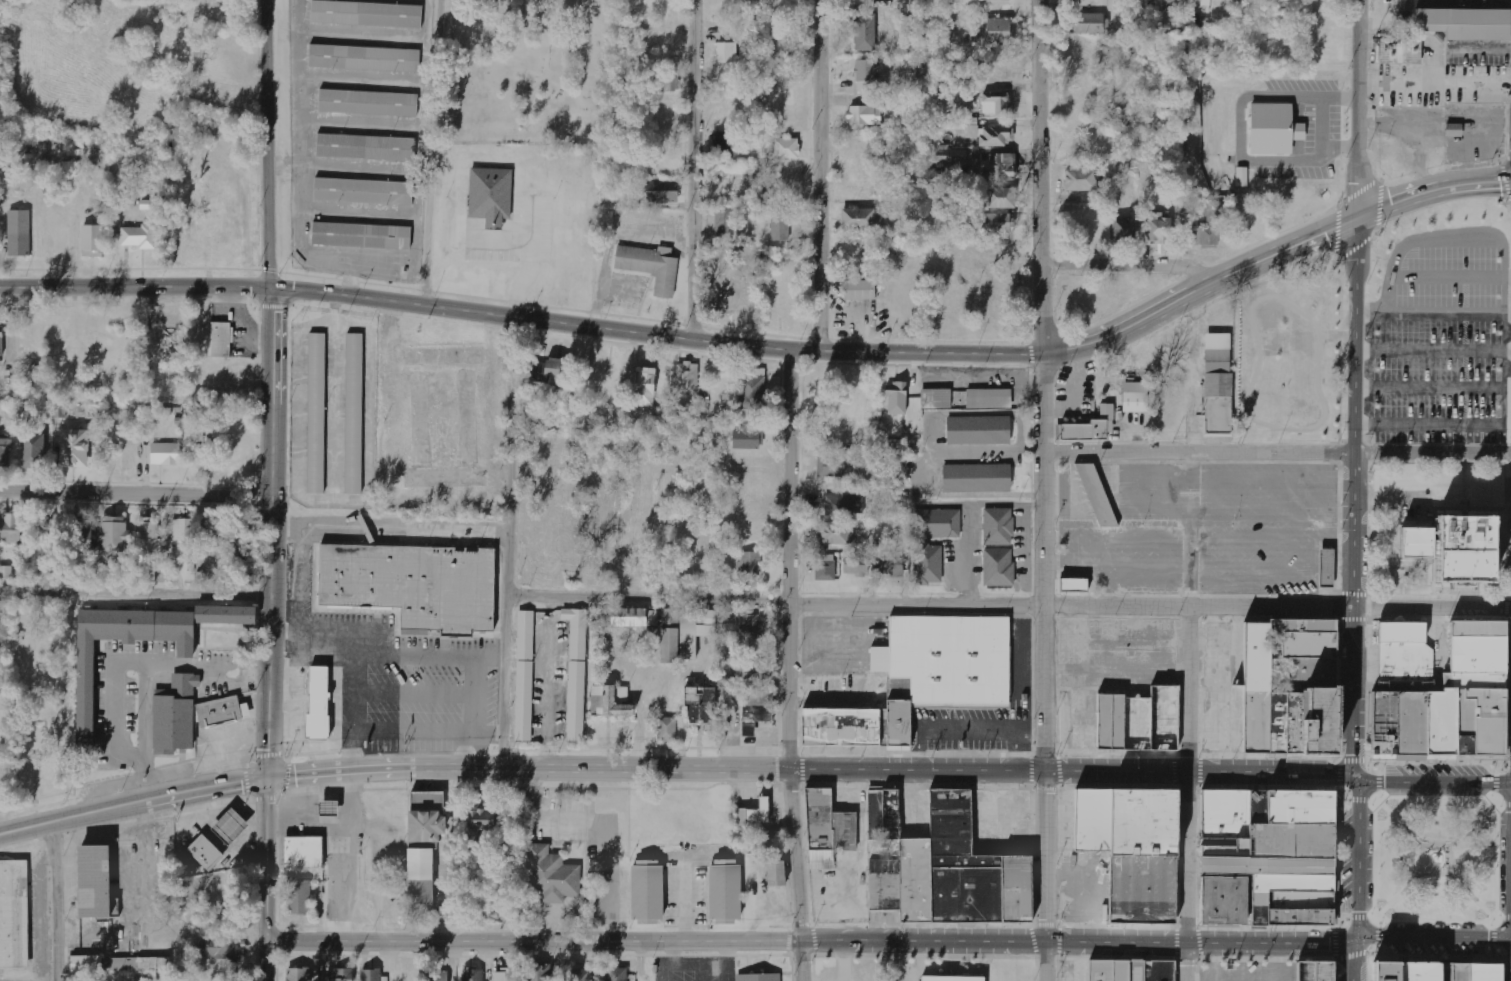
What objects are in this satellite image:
building: (1152, 0)
building: (994, 2)
building: (1174, 2)
building: (1202, 6)
building: (364, 15)
building: (1085, 23)
building: (1466, 24)
building: (864, 31)
building: (993, 32)
building: (1398, 50)
building: (726, 53)
building: (361, 59)
building: (865, 77)
building: (663, 87)
building: (366, 104)
building: (996, 105)
road: (1361, 109)
building: (864, 116)
building: (961, 126)
building: (1272, 129)
building: (1454, 130)
building: (996, 137)
building: (362, 148)
building: (722, 148)
building: (786, 149)
road: (434, 151)
building: (948, 156)
building: (998, 168)
road: (697, 169)
road: (823, 174)
building: (1242, 177)
building: (1079, 180)
road: (1433, 191)
building: (661, 192)
building: (360, 193)
building: (490, 196)
building: (1001, 198)
building: (151, 205)
traffic signals: (1361, 219)
building: (862, 220)
building: (724, 222)
building: (999, 223)
building: (780, 226)
building: (1123, 228)
building: (1159, 229)
building: (19, 234)
building: (1205, 236)
building: (139, 237)
building: (358, 237)
building: (93, 239)
building: (748, 252)
road: (1131, 260)
building: (648, 264)
building: (860, 291)
building: (730, 296)
road: (692, 337)
building: (1, 340)
building: (221, 340)
park: (1287, 356)
building: (555, 371)
parking lot: (1441, 378)
building: (687, 379)
building: (1217, 383)
road: (1045, 385)
building: (642, 387)
road: (273, 389)
building: (752, 394)
building: (896, 398)
building: (986, 399)
building: (933, 400)
building: (1135, 402)
building: (314, 410)
building: (59, 411)
building: (351, 412)
building: (1090, 426)
building: (977, 432)
building: (745, 438)
building: (74, 448)
building: (33, 450)
building: (897, 450)
building: (5, 452)
road: (1279, 452)
building: (165, 454)
road: (1438, 461)
building: (831, 465)
building: (871, 470)
building: (974, 480)
building: (1095, 496)
road: (136, 497)
road: (1356, 498)
building: (843, 504)
parking lot: (1266, 524)
road: (390, 525)
building: (935, 525)
building: (995, 528)
building: (9, 529)
building: (183, 529)
road: (1369, 529)
road: (1507, 530)
building: (45, 531)
building: (835, 533)
building: (80, 534)
building: (213, 534)
building: (114, 536)
building: (148, 539)
road: (508, 540)
building: (242, 543)
building: (1435, 551)
road: (790, 558)
building: (750, 564)
building: (856, 565)
building: (891, 565)
building: (825, 567)
building: (926, 567)
building: (1326, 568)
building: (996, 569)
building: (6, 573)
building: (148, 573)
building: (1074, 584)
building: (408, 587)
road: (135, 593)
road: (1009, 604)
road: (1369, 607)
road: (1507, 607)
building: (634, 617)
building: (741, 625)
building: (681, 635)
building: (1402, 652)
building: (942, 664)
building: (755, 667)
building: (574, 673)
building: (523, 677)
building: (1287, 686)
road: (1368, 687)
road: (1507, 687)
road: (1188, 691)
building: (1450, 700)
building: (610, 701)
building: (84, 703)
building: (317, 703)
building: (699, 704)
building: (758, 706)
building: (184, 717)
building: (1138, 719)
building: (840, 726)
building: (666, 729)
road: (1509, 757)
road: (1353, 758)
road: (1437, 761)
road: (810, 769)
traffic signals: (1356, 777)
road: (1338, 778)
traffic signals: (266, 779)
road: (1379, 779)
road: (1495, 783)
road: (1432, 787)
road: (1358, 798)
road: (1383, 803)
road: (132, 804)
road: (1503, 806)
road: (1388, 808)
building: (328, 809)
road: (1490, 809)
road: (1486, 812)
building: (753, 815)
building: (1094, 818)
building: (1142, 821)
building: (480, 822)
building: (228, 828)
gas station: (228, 828)
building: (825, 830)
road: (1408, 830)
road: (1464, 830)
building: (422, 847)
building: (202, 854)
building: (301, 854)
building: (1264, 856)
road: (1362, 857)
fountain: (1436, 858)
park: (1437, 859)
road: (1506, 860)
road: (265, 862)
road: (1480, 862)
building: (944, 867)
road: (1450, 872)
building: (776, 873)
road: (1390, 873)
road: (795, 874)
road: (1043, 875)
building: (548, 876)
road: (1188, 877)
building: (93, 883)
road: (1408, 884)
road: (1462, 885)
building: (1140, 886)
building: (723, 892)
building: (646, 894)
building: (297, 899)
road: (50, 902)
road: (1481, 909)
road: (1489, 909)
road: (1382, 912)
road: (1502, 912)
building: (12, 916)
road: (1355, 916)
road: (1432, 933)
road: (1493, 934)
road: (1377, 936)
road: (1334, 937)
traffic signals: (1354, 938)
road: (809, 942)
building: (222, 951)
road: (1452, 956)
road: (1356, 957)
road: (1507, 958)
road: (1354, 959)
road: (264, 963)
building: (120, 966)
building: (1131, 969)
building: (1311, 969)
building: (1402, 969)
parking lot: (1242, 970)
building: (1474, 971)
building: (538, 973)
building: (298, 974)
building: (472, 974)
building: (617, 974)
building: (342, 975)
building: (371, 975)
building: (436, 975)
building: (504, 975)
building: (581, 975)
building: (757, 976)
building: (949, 978)

